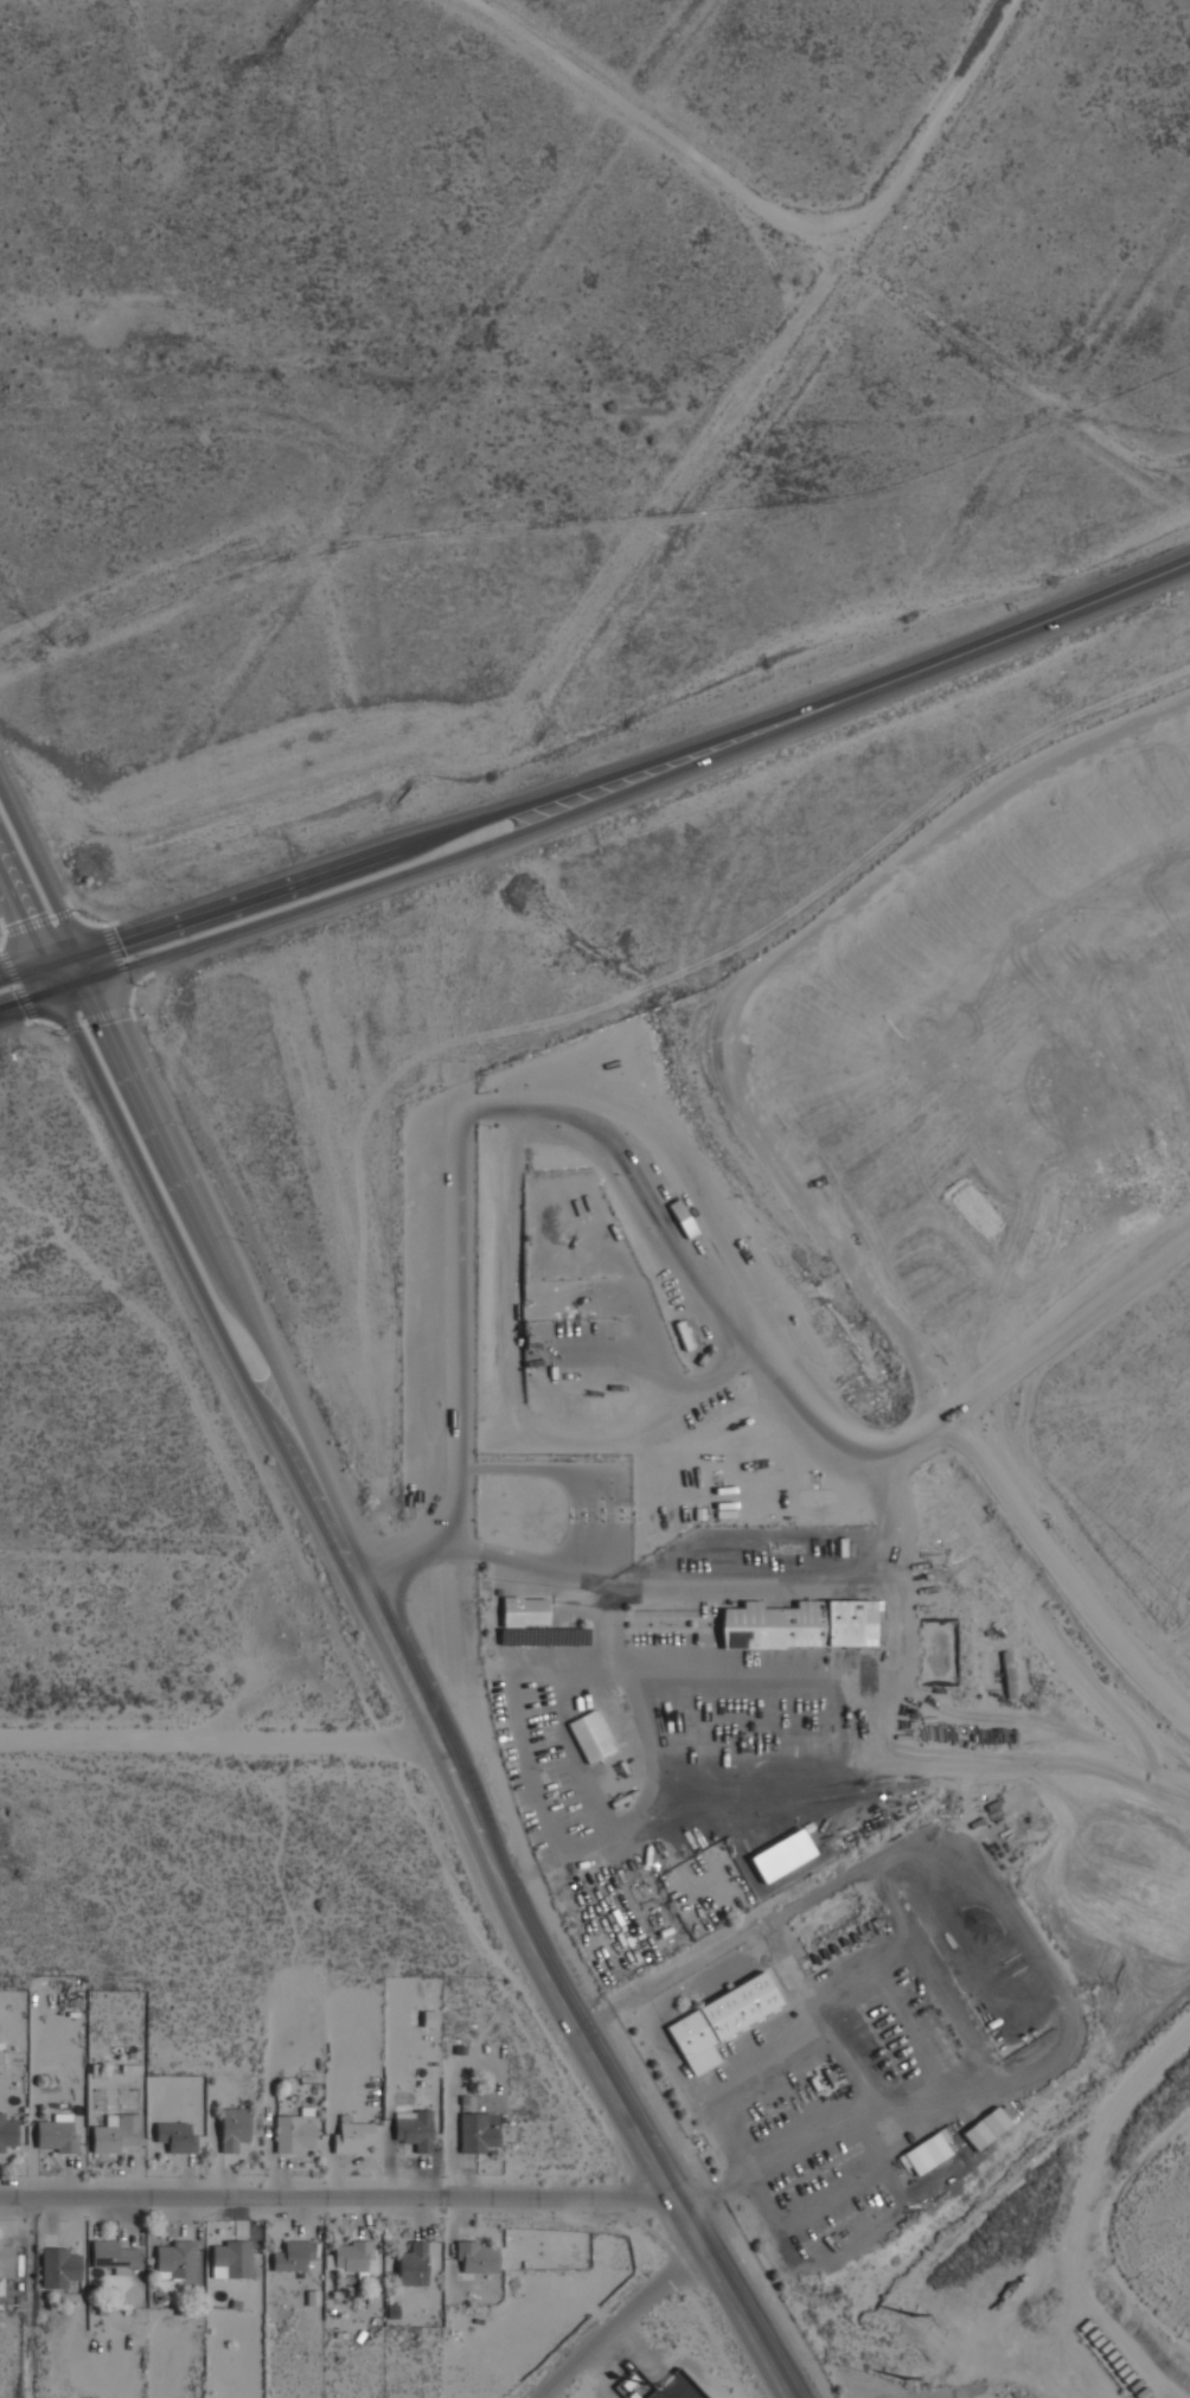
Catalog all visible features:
road: (648, 116)
road: (939, 119)
road: (1041, 620)
road: (487, 819)
road: (37, 867)
road: (453, 867)
road: (20, 917)
traffic signals: (81, 949)
road: (60, 955)
traffic signals: (40, 963)
road: (20, 968)
traffic signals: (101, 983)
traffic signals: (59, 996)
landfill: (1006, 1147)
road: (473, 1169)
road: (230, 1259)
road: (191, 1274)
road: (586, 1528)
road: (838, 1575)
building: (524, 1612)
building: (800, 1625)
building: (589, 1737)
road: (222, 1742)
building: (781, 1856)
road: (847, 1873)
road: (565, 1994)
building: (719, 2020)
building: (985, 2128)
building: (232, 2129)
power tower: (1109, 2129)
building: (414, 2131)
building: (478, 2132)
building: (7, 2134)
building: (115, 2134)
building: (293, 2134)
building: (56, 2135)
building: (351, 2136)
building: (175, 2137)
building: (925, 2154)
road: (780, 2155)
road: (339, 2196)
landfill: (1061, 2251)
building: (6, 2256)
building: (114, 2257)
building: (292, 2257)
building: (353, 2257)
building: (475, 2257)
building: (175, 2259)
building: (230, 2260)
building: (412, 2265)
building: (58, 2268)
road: (623, 2321)
power substation: (633, 2379)

